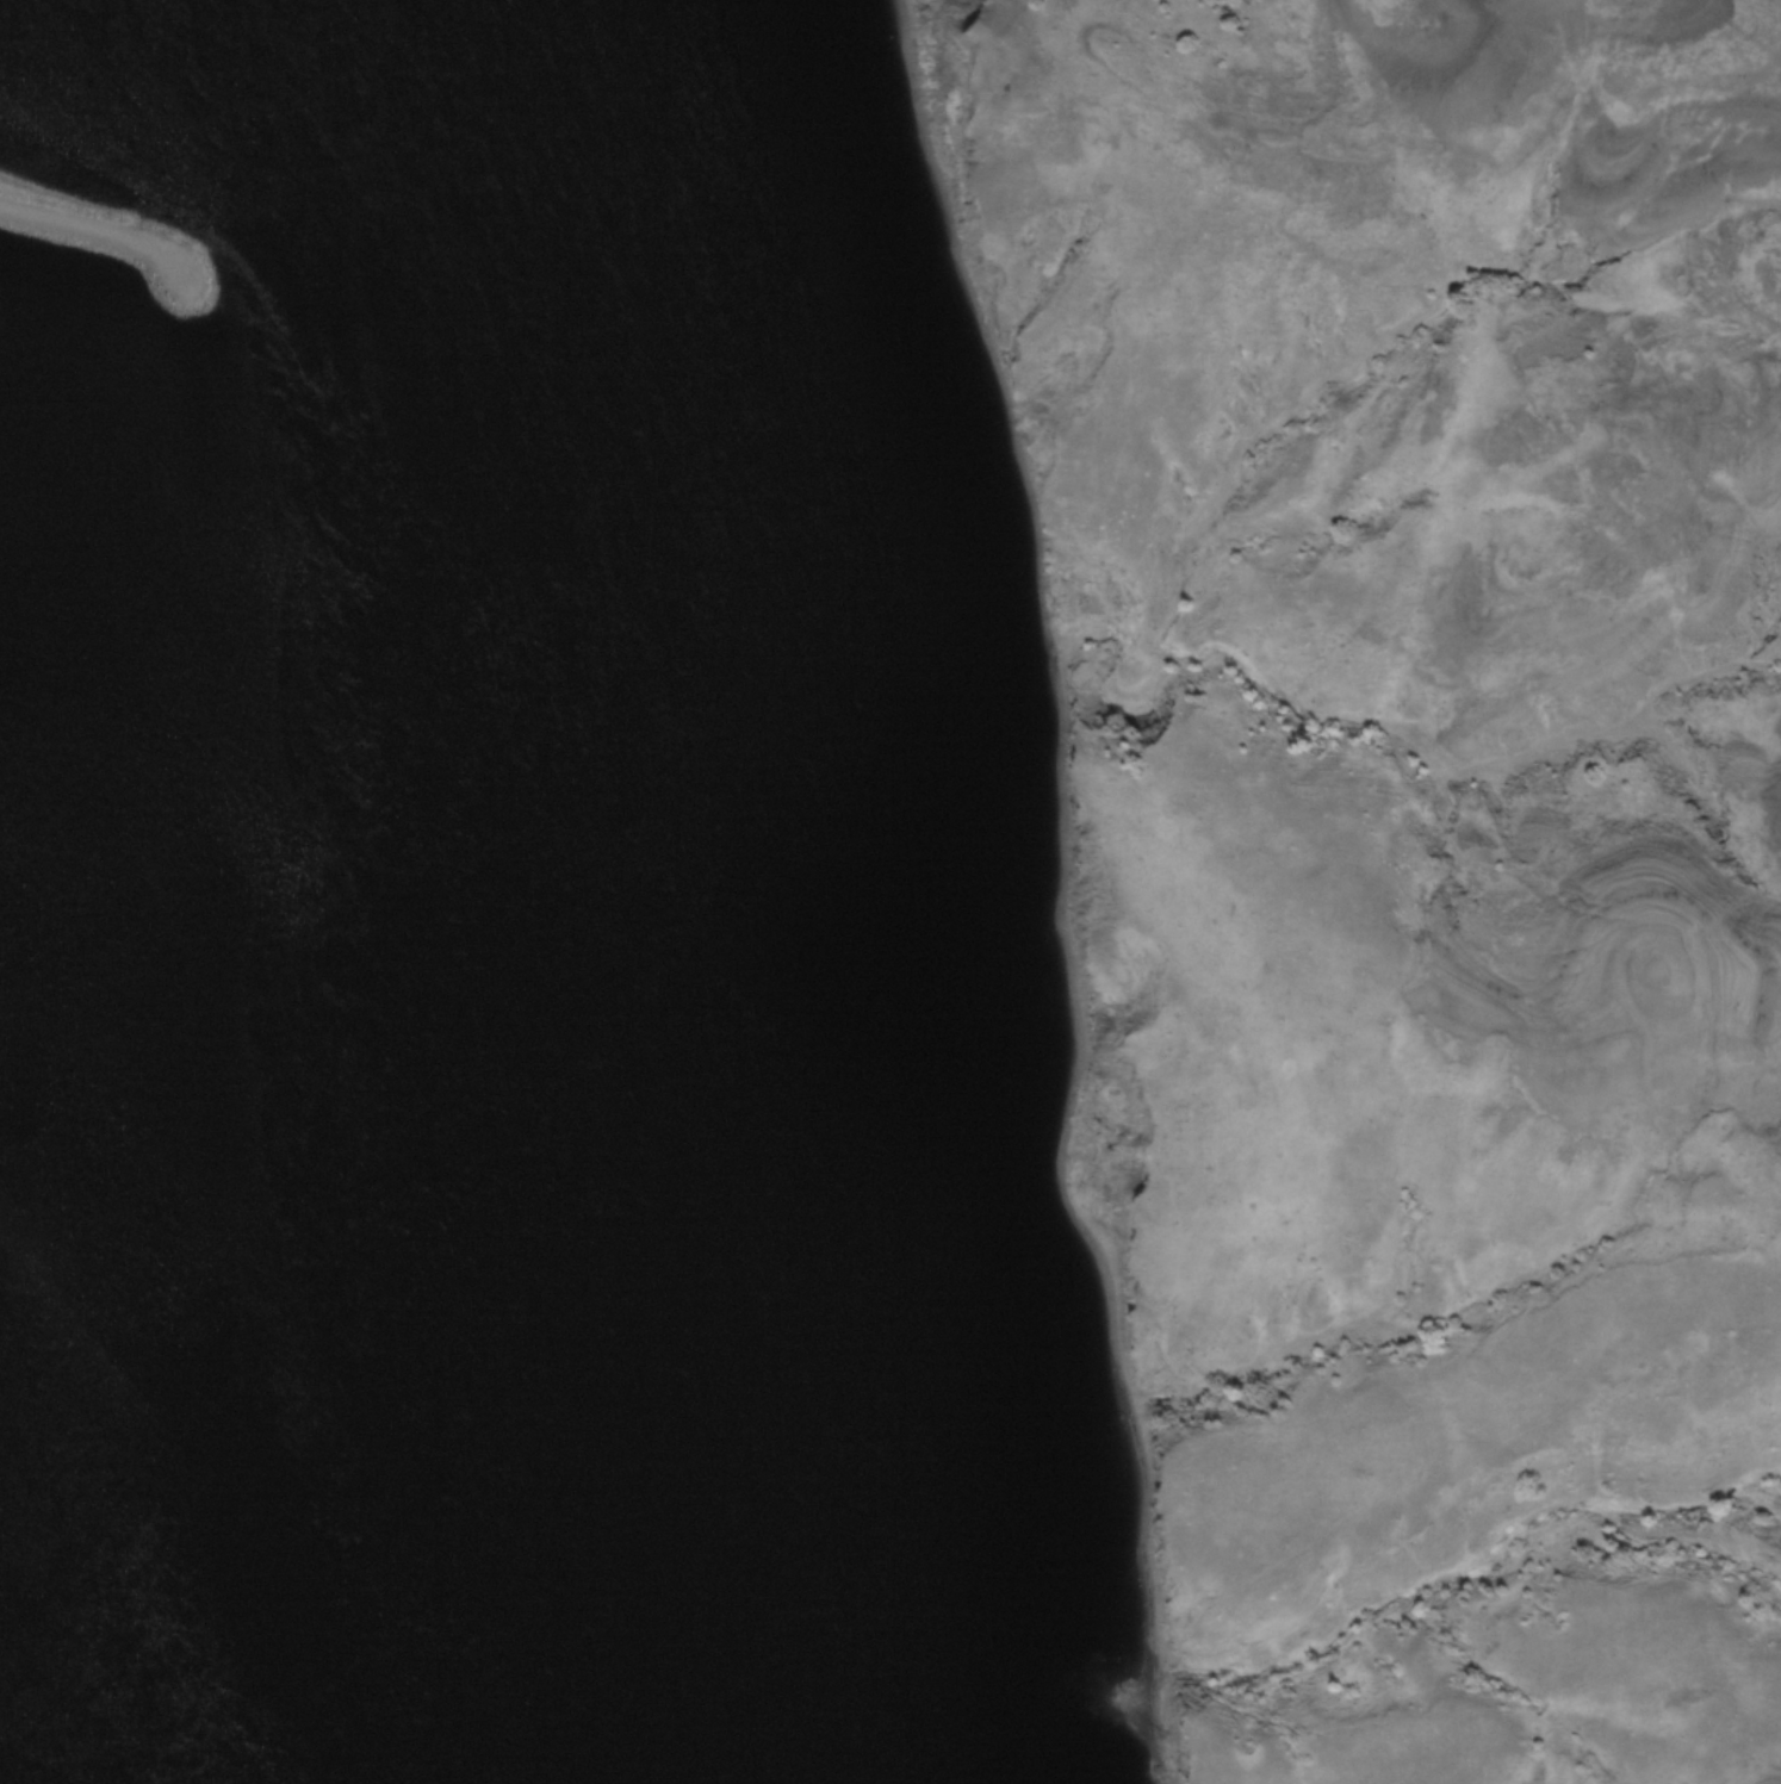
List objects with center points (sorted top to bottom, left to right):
road: (105, 232)
river: (621, 895)

